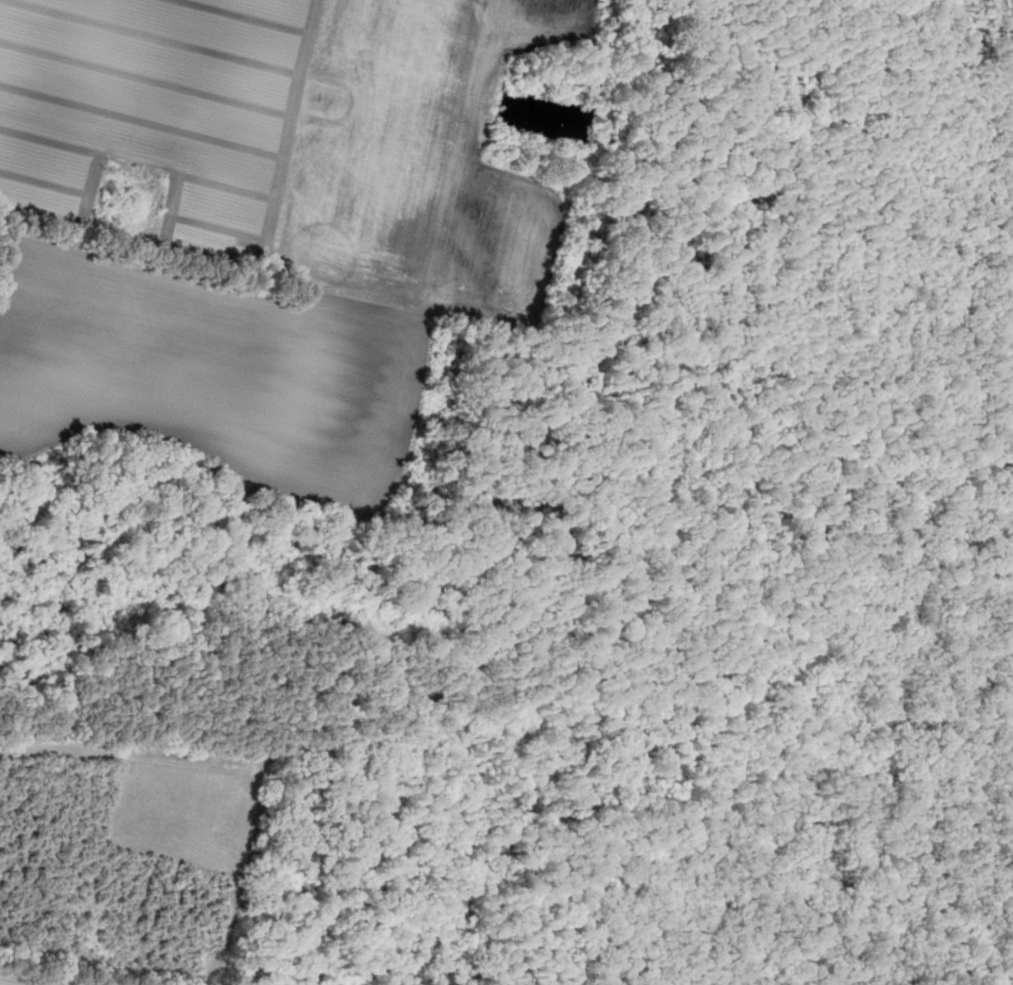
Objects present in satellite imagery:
building: (119, 203)

